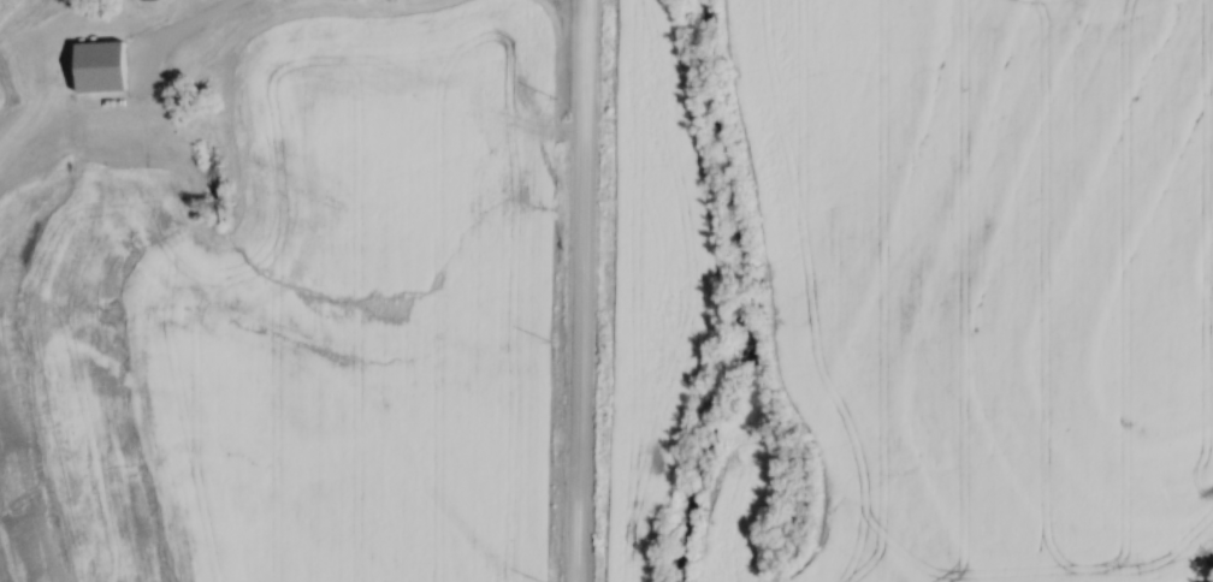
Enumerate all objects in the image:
airport taxiway: (64, 54)
road: (581, 291)

